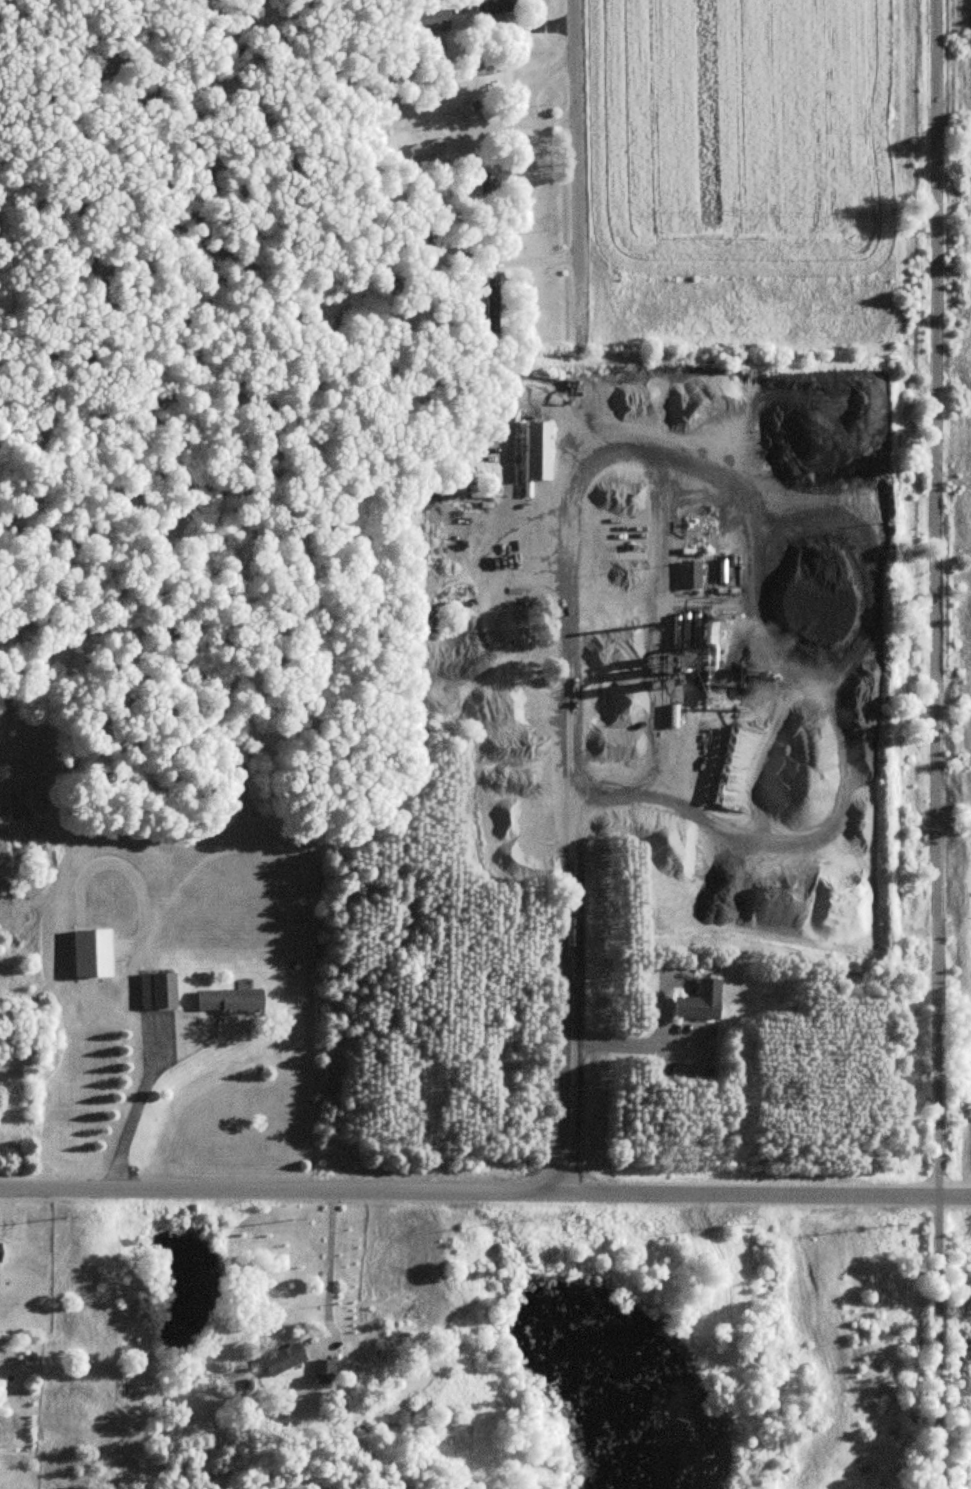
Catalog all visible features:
building: (499, 5)
building: (489, 294)
road: (580, 368)
building: (536, 451)
building: (429, 534)
building: (688, 574)
road: (933, 744)
road: (577, 961)
building: (156, 992)
building: (228, 1002)
building: (698, 1003)
road: (485, 1186)
building: (281, 1359)
building: (322, 1371)

